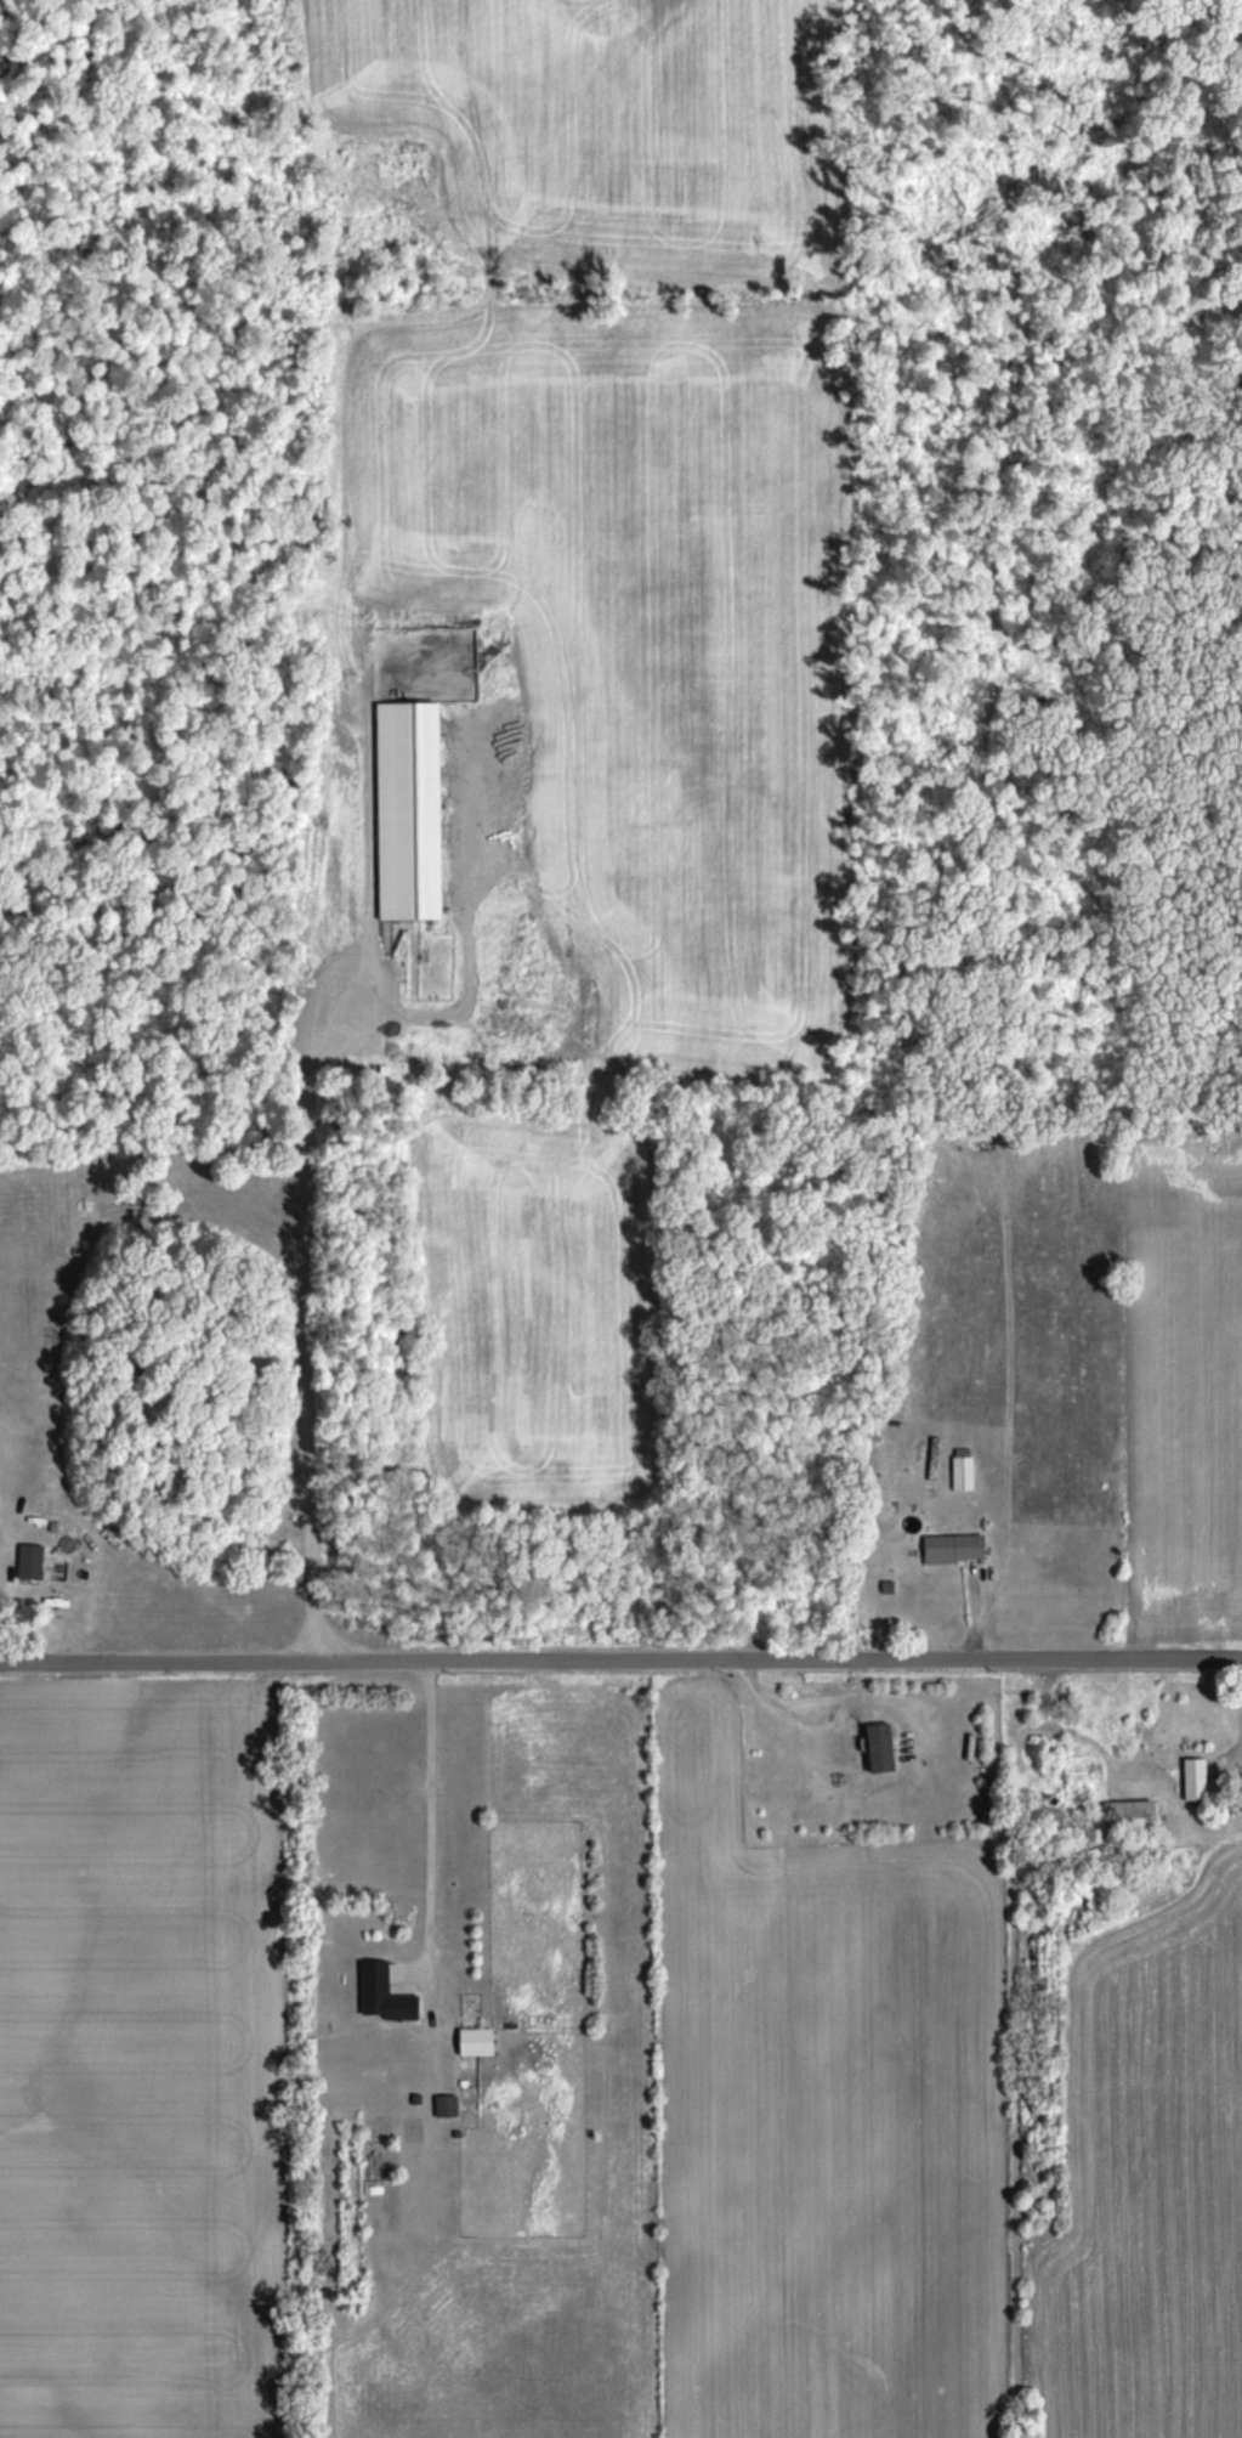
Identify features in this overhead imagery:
building: (407, 810)
road: (311, 1333)
crop: (1094, 1340)
building: (935, 1459)
building: (964, 1470)
building: (52, 1526)
building: (954, 1544)
building: (29, 1559)
road: (7, 1565)
building: (886, 1585)
road: (975, 1616)
road: (620, 1657)
road: (793, 1710)
building: (875, 1747)
building: (1191, 1778)
building: (1098, 1800)
road: (429, 1816)
building: (380, 1995)
building: (472, 2041)
building: (444, 2105)

